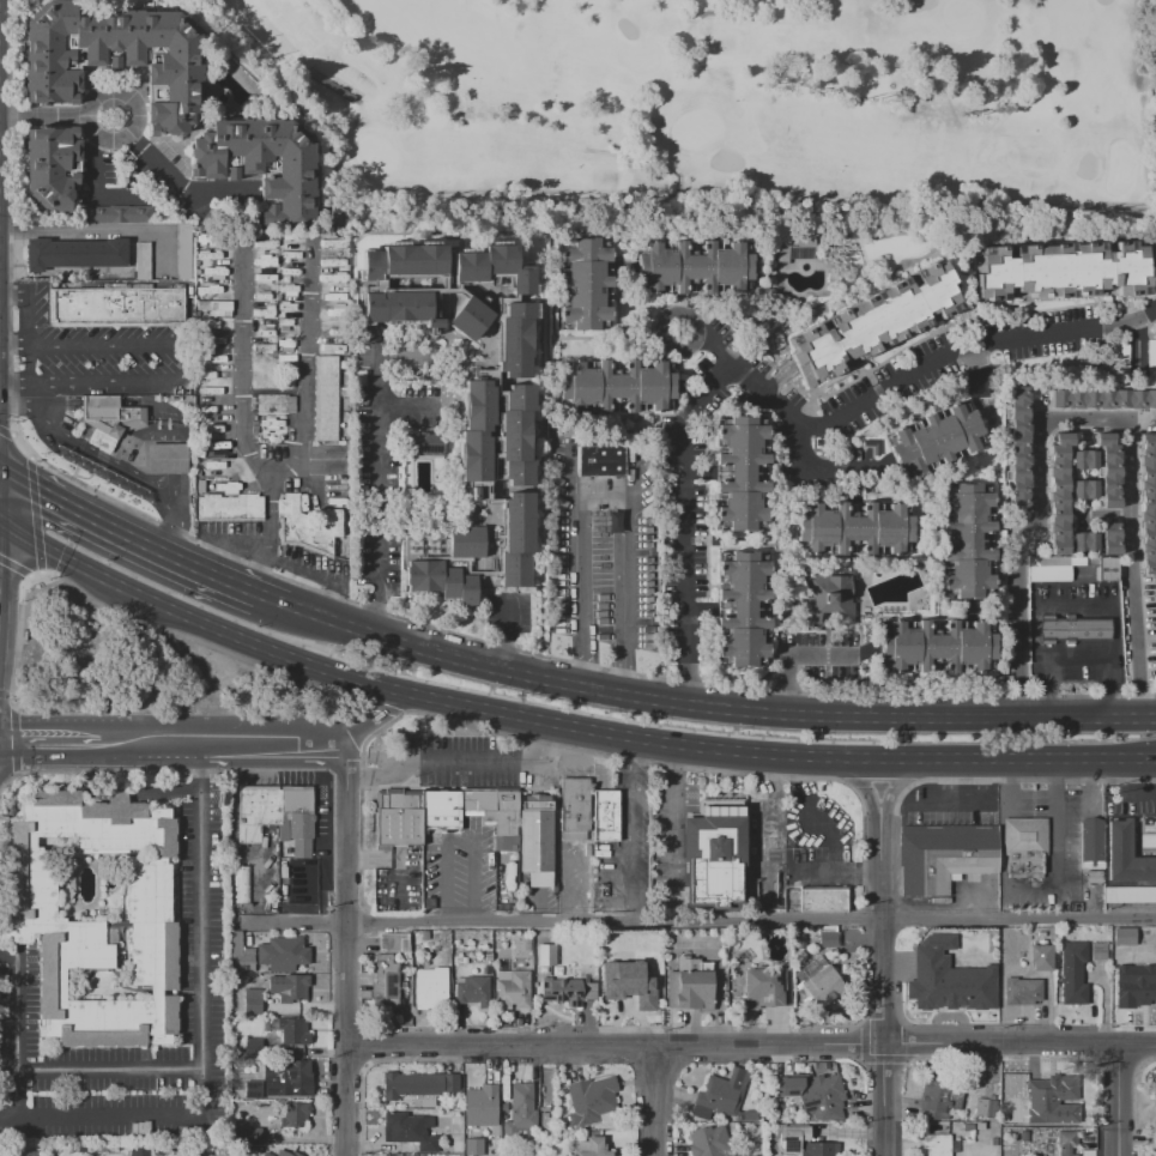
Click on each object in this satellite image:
road: (710, 10)
building: (116, 59)
road: (319, 79)
park: (720, 102)
road: (143, 117)
road: (42, 119)
road: (603, 151)
building: (261, 165)
building: (52, 167)
road: (173, 177)
building: (115, 214)
road: (98, 229)
building: (792, 253)
building: (75, 254)
building: (143, 260)
building: (403, 261)
building: (691, 266)
building: (492, 267)
building: (1064, 270)
building: (582, 284)
building: (115, 307)
building: (399, 308)
building: (466, 317)
building: (873, 322)
road: (30, 334)
building: (513, 338)
road: (708, 344)
road: (16, 345)
road: (103, 345)
building: (1150, 357)
parking lot: (111, 361)
road: (304, 363)
road: (242, 364)
road: (16, 382)
road: (105, 382)
building: (616, 386)
building: (325, 398)
building: (1102, 398)
road: (774, 401)
building: (271, 404)
road: (17, 406)
road: (404, 406)
building: (109, 414)
road: (1079, 419)
building: (474, 429)
building: (515, 436)
building: (934, 438)
road: (1, 443)
building: (423, 444)
building: (1017, 447)
road: (96, 458)
building: (165, 458)
gas station: (165, 458)
building: (1083, 459)
building: (600, 460)
road: (0, 467)
traffic signals: (1, 468)
road: (822, 470)
building: (1108, 470)
building: (101, 471)
building: (742, 472)
road: (170, 486)
road: (379, 489)
building: (1083, 489)
building: (1058, 494)
road: (1, 495)
building: (1148, 502)
building: (229, 508)
road: (0, 520)
traffic signals: (1, 521)
building: (307, 526)
building: (854, 527)
road: (176, 528)
road: (126, 535)
road: (268, 535)
building: (1109, 538)
building: (516, 540)
building: (967, 540)
building: (466, 541)
building: (1084, 541)
road: (1, 553)
building: (1078, 561)
building: (1091, 561)
parking lot: (604, 562)
building: (1049, 568)
building: (1107, 568)
road: (576, 569)
building: (441, 581)
road: (273, 597)
building: (827, 599)
road: (625, 600)
building: (740, 607)
road: (199, 622)
building: (1075, 628)
road: (507, 635)
building: (936, 646)
parking lot: (819, 654)
road: (788, 655)
park: (152, 672)
road: (715, 710)
road: (380, 722)
road: (10, 739)
road: (274, 745)
road: (60, 748)
road: (151, 748)
road: (10, 753)
road: (780, 755)
road: (459, 763)
road: (204, 765)
road: (1057, 774)
road: (948, 780)
road: (981, 780)
road: (902, 782)
road: (859, 783)
road: (126, 785)
road: (1119, 795)
road: (952, 801)
building: (575, 804)
parking lot: (949, 805)
road: (670, 812)
building: (494, 815)
building: (604, 815)
building: (398, 819)
road: (631, 830)
road: (459, 837)
road: (830, 837)
building: (283, 839)
building: (537, 842)
building: (1024, 847)
building: (1091, 847)
parking lot: (1064, 848)
building: (713, 854)
building: (942, 858)
building: (1126, 859)
road: (1057, 864)
road: (834, 871)
building: (241, 883)
building: (1130, 896)
building: (822, 900)
building: (36, 920)
road: (697, 921)
building: (1124, 936)
building: (798, 938)
building: (827, 939)
building: (393, 943)
road: (343, 949)
building: (241, 952)
building: (283, 954)
building: (546, 955)
road: (10, 956)
building: (1041, 957)
building: (1077, 968)
building: (949, 979)
building: (629, 980)
building: (385, 983)
building: (690, 985)
building: (819, 986)
road: (880, 986)
building: (767, 987)
building: (1132, 987)
building: (293, 988)
building: (513, 988)
building: (431, 991)
building: (472, 991)
building: (1022, 991)
building: (565, 992)
building: (253, 1000)
building: (290, 1029)
road: (749, 1043)
building: (252, 1047)
road: (193, 1070)
building: (288, 1073)
building: (418, 1084)
building: (252, 1090)
building: (1048, 1093)
building: (720, 1094)
building: (815, 1094)
building: (938, 1096)
road: (653, 1100)
building: (591, 1101)
road: (1120, 1102)
building: (480, 1104)
road: (19, 1107)
building: (986, 1107)
building: (1067, 1112)
building: (295, 1114)
building: (520, 1114)
road: (135, 1119)
building: (980, 1126)
building: (969, 1127)
building: (410, 1132)
building: (791, 1132)
building: (1024, 1134)
building: (252, 1136)
building: (708, 1142)
building: (993, 1142)
building: (1066, 1142)
building: (938, 1144)
building: (473, 1146)
building: (592, 1148)
building: (819, 1149)
building: (139, 1151)
building: (30, 1154)
building: (284, 1154)
building: (400, 1155)

